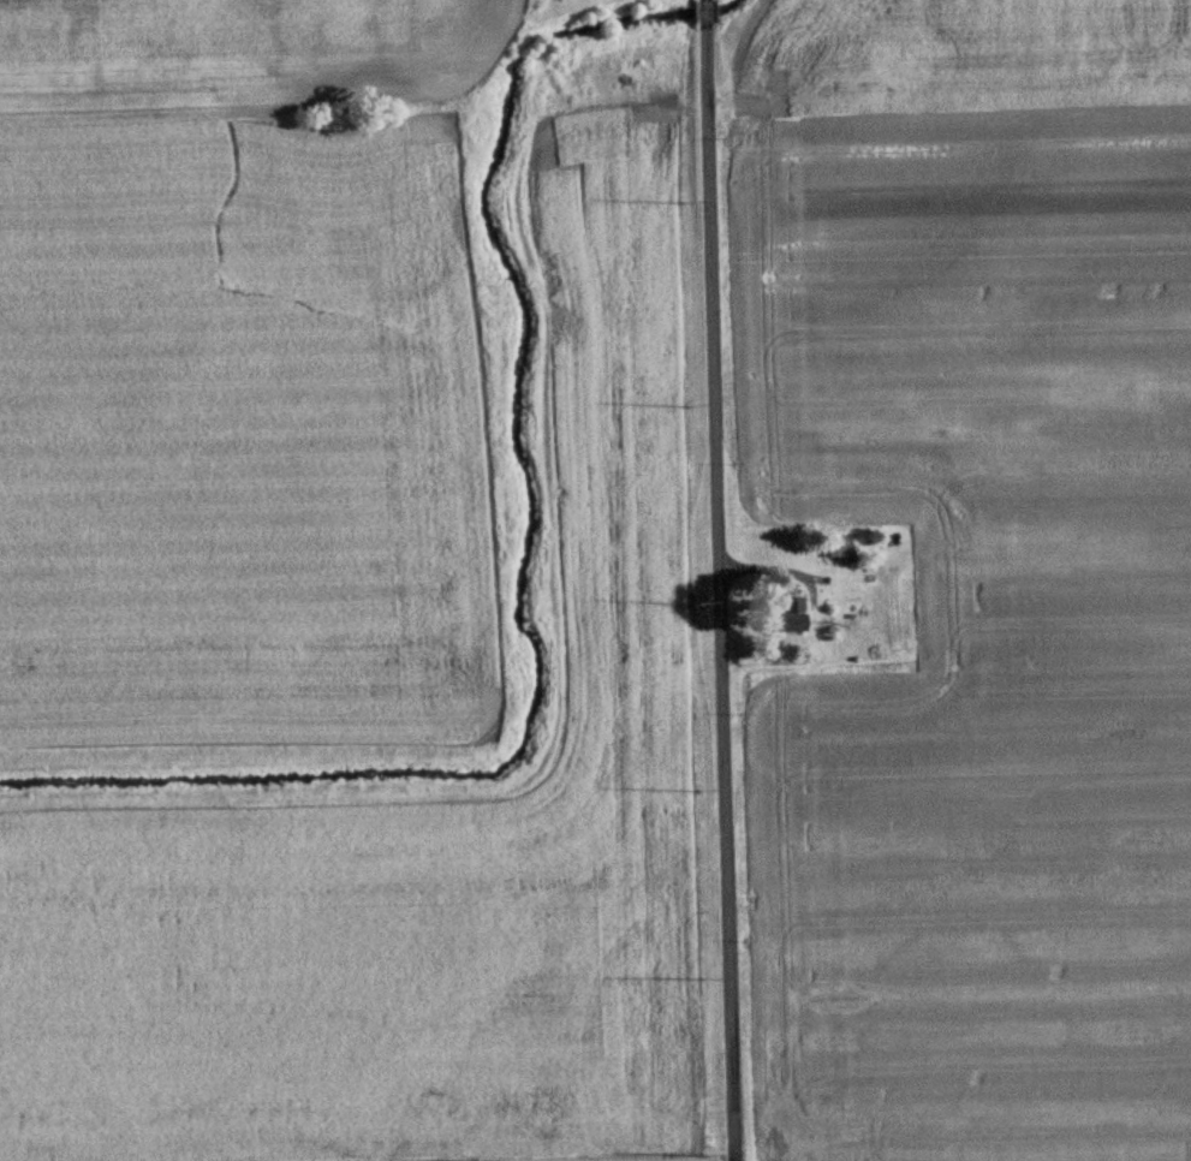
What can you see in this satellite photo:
crop: (955, 53)
crop: (237, 54)
crop: (236, 431)
road: (717, 580)
crop: (975, 627)
crop: (419, 841)

